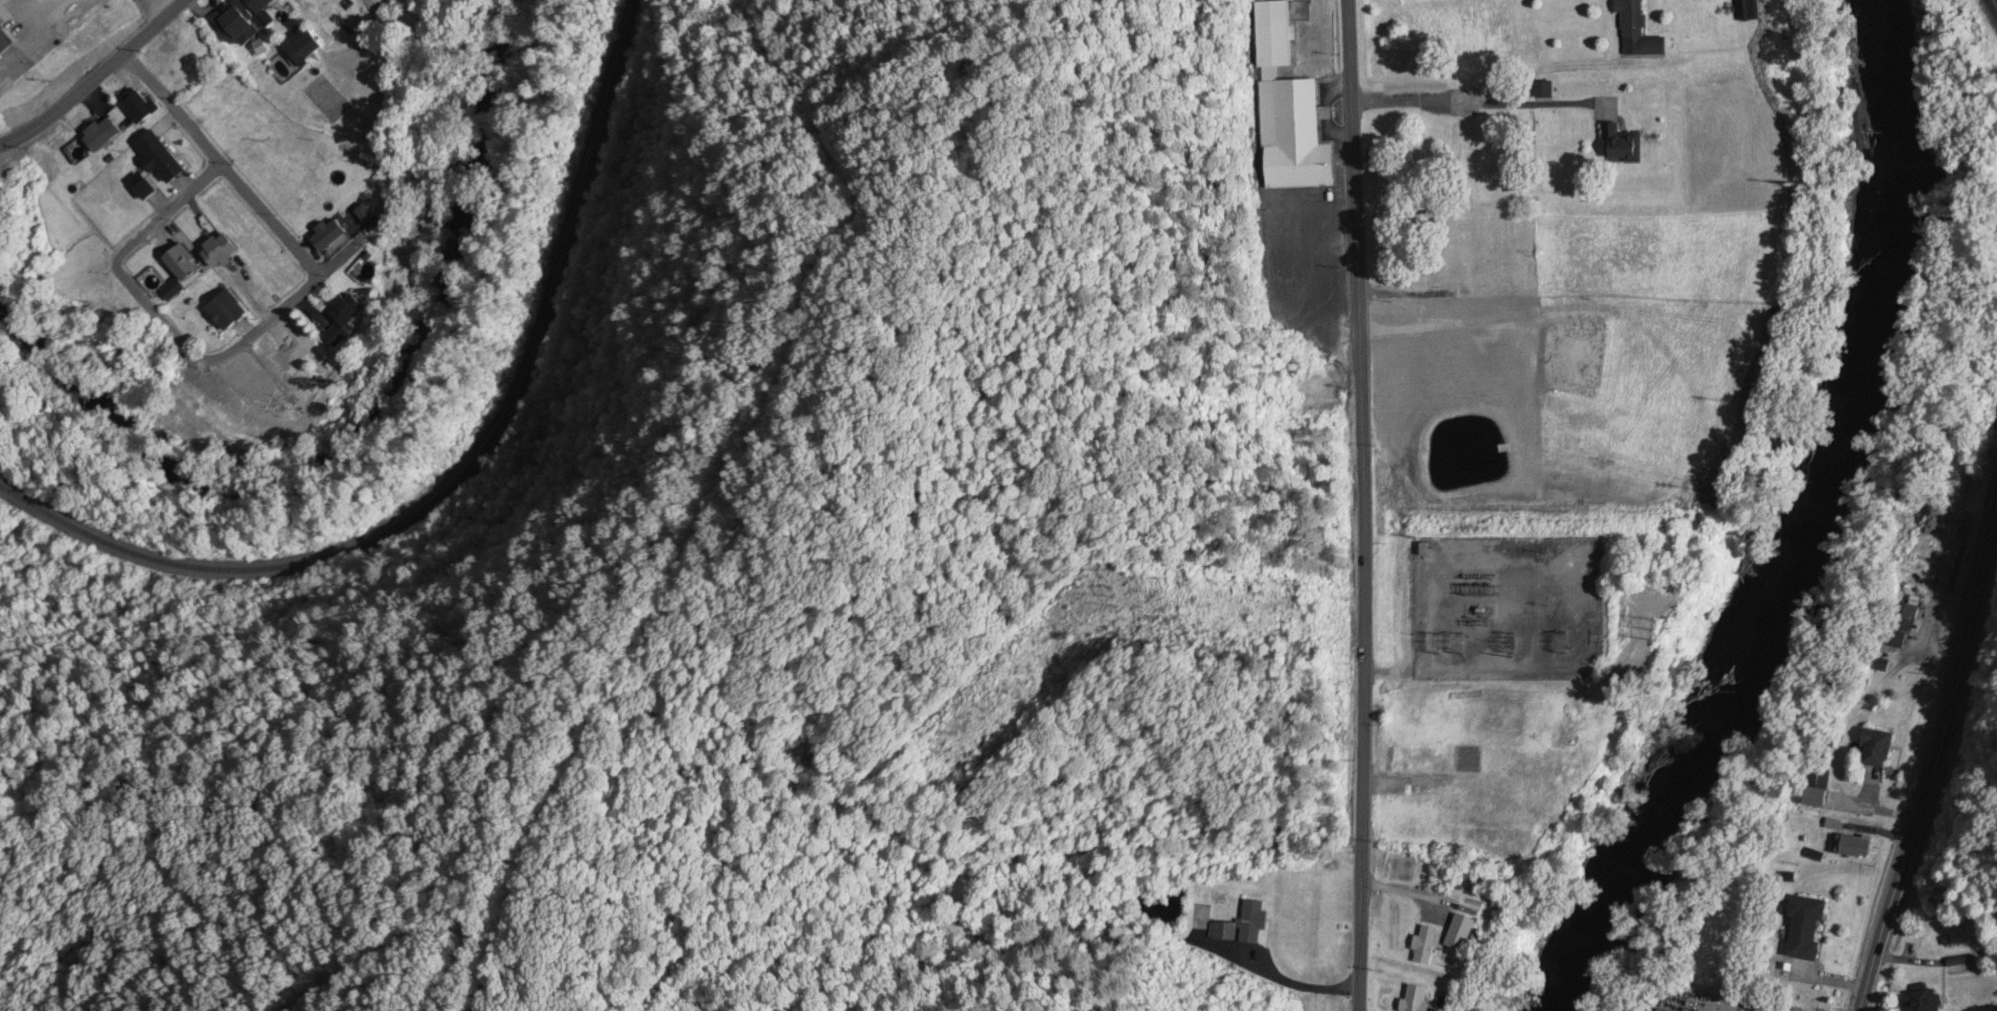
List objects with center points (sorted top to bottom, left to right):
railway: (1994, 4)
building: (261, 5)
road: (366, 7)
building: (1749, 11)
building: (239, 25)
building: (1638, 31)
building: (5, 42)
building: (306, 47)
road: (96, 78)
building: (328, 100)
building: (140, 108)
road: (172, 110)
building: (1289, 113)
building: (104, 135)
building: (1623, 146)
building: (161, 158)
building: (148, 189)
building: (366, 215)
building: (330, 237)
building: (221, 252)
building: (184, 262)
building: (172, 290)
building: (229, 311)
building: (347, 311)
road: (246, 340)
building: (262, 397)
railway: (464, 474)
road: (1357, 505)
river: (1807, 525)
building: (1947, 539)
power tower: (1132, 590)
power substation: (1507, 610)
building: (1913, 613)
power tower: (1663, 637)
building: (1879, 750)
road: (1936, 761)
road: (1418, 782)
building: (1818, 798)
building: (1856, 846)
road: (1407, 893)
building: (1243, 926)
building: (1807, 929)
building: (1426, 946)
building: (1968, 994)
building: (1417, 999)
building: (1925, 1001)

